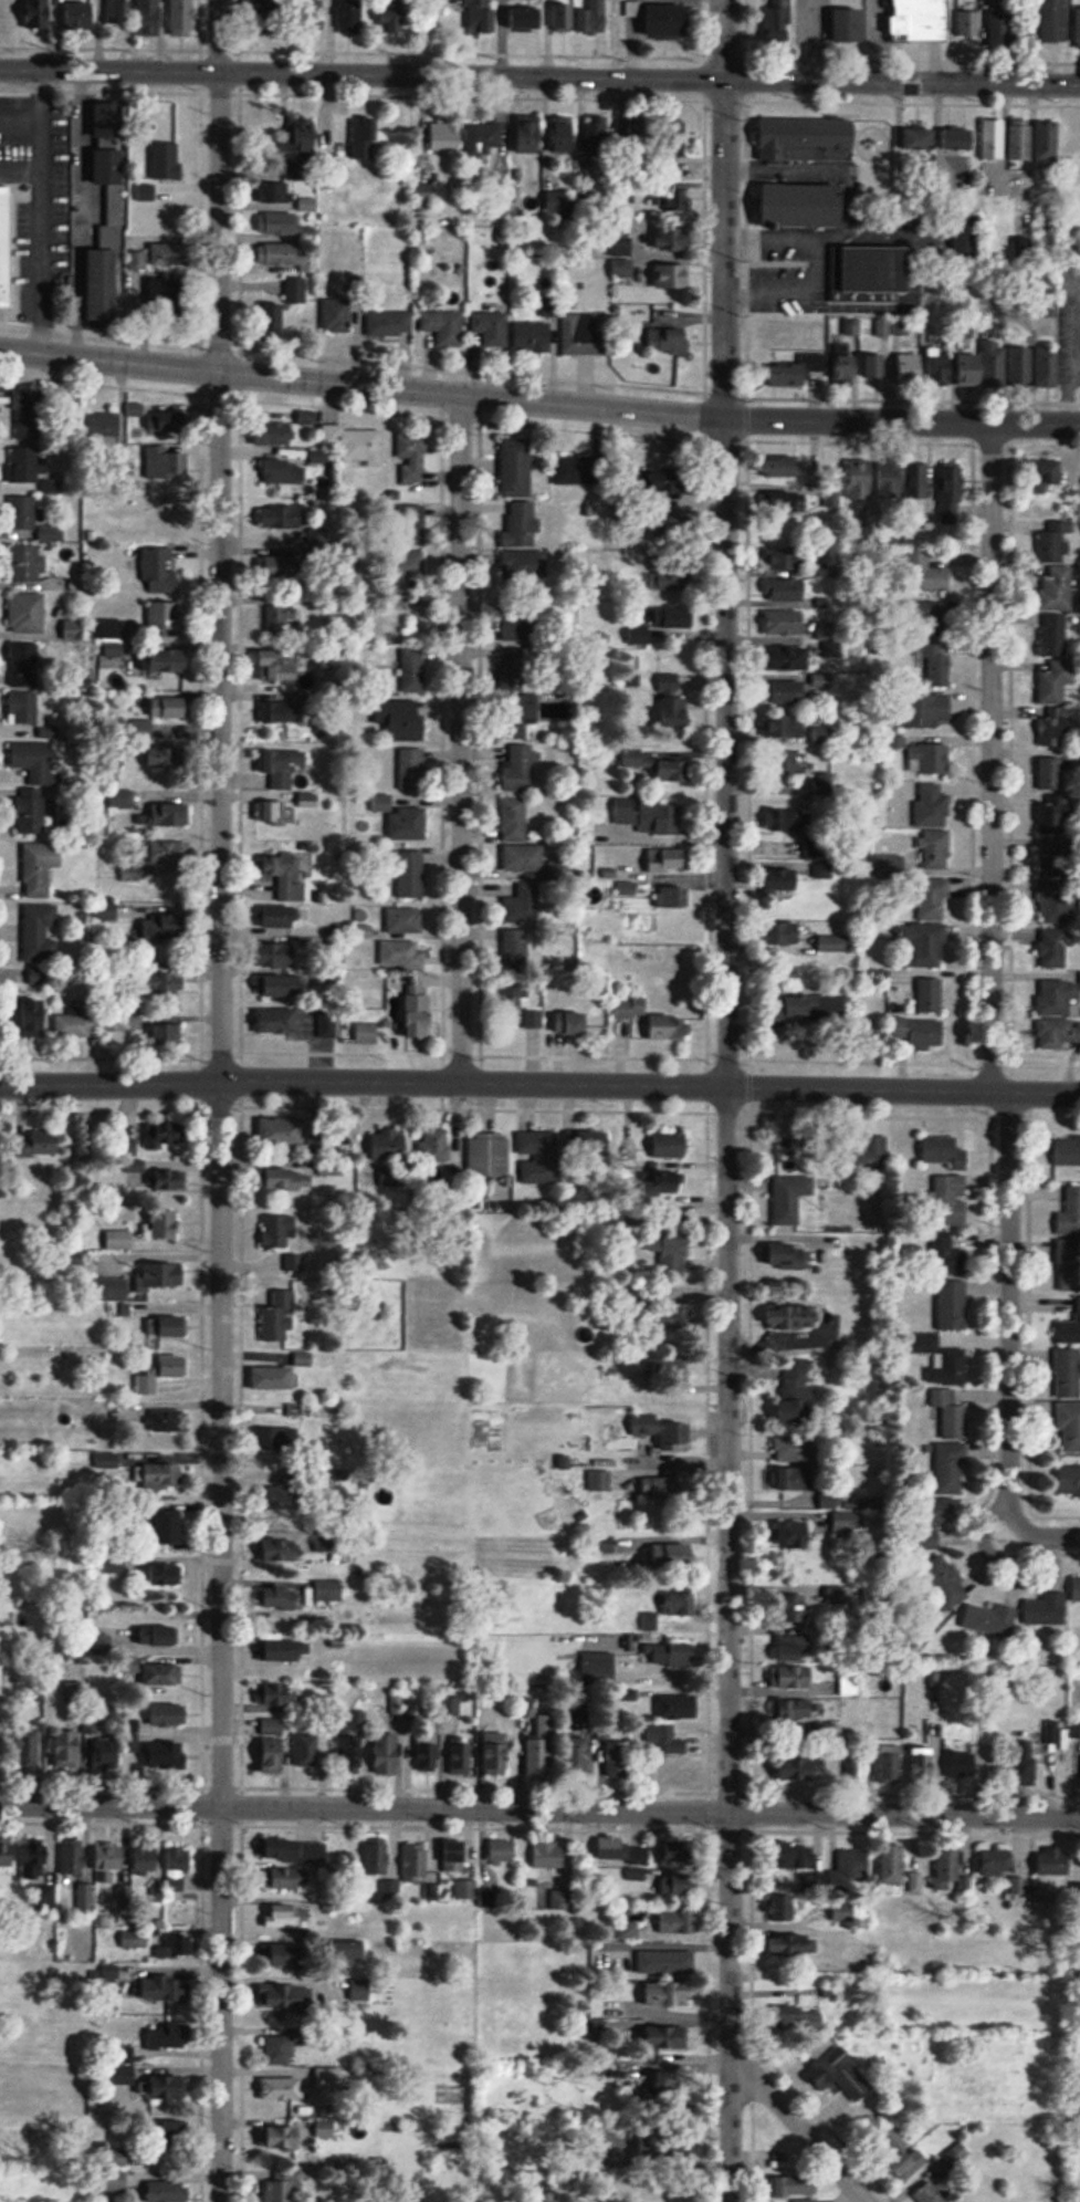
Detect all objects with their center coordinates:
building: (411, 7)
building: (633, 9)
building: (117, 12)
building: (34, 13)
building: (8, 14)
building: (353, 15)
building: (479, 15)
building: (597, 15)
building: (81, 17)
building: (184, 18)
building: (568, 18)
building: (914, 18)
building: (151, 19)
building: (527, 19)
building: (671, 20)
building: (391, 21)
building: (1057, 21)
building: (968, 24)
building: (838, 25)
building: (1078, 28)
road: (539, 76)
building: (678, 131)
building: (646, 134)
building: (531, 135)
building: (564, 135)
building: (598, 135)
building: (447, 136)
building: (365, 138)
building: (483, 138)
building: (920, 138)
building: (301, 139)
building: (960, 139)
building: (1008, 139)
building: (1046, 142)
building: (805, 143)
building: (168, 161)
road: (817, 168)
building: (275, 192)
building: (113, 196)
building: (555, 201)
building: (679, 202)
building: (807, 206)
road: (726, 209)
building: (277, 225)
road: (770, 234)
building: (966, 237)
building: (7, 249)
building: (169, 251)
road: (909, 251)
building: (283, 257)
building: (622, 258)
building: (135, 261)
building: (870, 273)
building: (673, 278)
building: (105, 286)
road: (769, 290)
building: (175, 301)
building: (337, 315)
building: (279, 323)
building: (390, 324)
building: (445, 327)
building: (492, 328)
building: (882, 330)
building: (586, 335)
building: (534, 337)
building: (780, 340)
building: (670, 342)
building: (847, 365)
building: (941, 367)
building: (1036, 368)
building: (798, 372)
road: (363, 385)
building: (135, 409)
building: (25, 411)
building: (109, 421)
road: (902, 421)
building: (165, 422)
building: (277, 435)
building: (356, 445)
building: (413, 459)
building: (166, 463)
building: (27, 467)
building: (780, 467)
building: (516, 470)
building: (579, 470)
building: (283, 473)
building: (1039, 474)
building: (890, 480)
building: (861, 481)
building: (919, 481)
building: (950, 491)
building: (787, 503)
building: (24, 513)
building: (415, 513)
building: (282, 518)
building: (169, 521)
building: (517, 524)
building: (679, 526)
building: (1053, 542)
building: (788, 559)
building: (28, 563)
building: (523, 563)
building: (281, 566)
building: (409, 566)
building: (159, 571)
building: (932, 578)
building: (785, 589)
building: (1056, 589)
building: (415, 607)
building: (28, 613)
building: (165, 617)
building: (675, 619)
building: (282, 622)
building: (784, 623)
building: (74, 628)
building: (1053, 635)
building: (831, 650)
building: (786, 658)
building: (167, 660)
building: (24, 661)
building: (279, 666)
building: (413, 670)
building: (513, 670)
building: (940, 671)
building: (1053, 686)
building: (788, 692)
building: (671, 700)
building: (24, 708)
building: (934, 710)
building: (161, 714)
building: (516, 718)
building: (407, 721)
building: (799, 729)
building: (1052, 730)
road: (460, 738)
building: (30, 754)
building: (159, 758)
building: (930, 760)
building: (796, 764)
building: (518, 768)
building: (286, 769)
building: (412, 770)
building: (1051, 773)
building: (825, 783)
building: (120, 799)
building: (31, 811)
building: (271, 813)
building: (168, 815)
building: (649, 817)
building: (514, 818)
building: (1050, 818)
building: (785, 822)
building: (409, 824)
building: (934, 828)
building: (162, 856)
building: (523, 857)
building: (1055, 859)
building: (668, 860)
building: (41, 867)
building: (410, 872)
building: (287, 876)
building: (784, 881)
building: (671, 897)
building: (934, 899)
building: (522, 904)
building: (1055, 905)
building: (106, 910)
building: (274, 917)
building: (403, 920)
building: (671, 923)
building: (165, 928)
building: (40, 932)
building: (785, 935)
building: (833, 943)
building: (924, 945)
building: (515, 949)
building: (1053, 949)
building: (402, 954)
building: (285, 971)
road: (989, 979)
building: (151, 983)
building: (178, 984)
building: (930, 995)
building: (520, 1008)
building: (815, 1008)
building: (1059, 1014)
building: (34, 1017)
building: (416, 1019)
building: (653, 1019)
building: (279, 1021)
building: (116, 1022)
building: (76, 1024)
building: (368, 1033)
building: (920, 1033)
building: (168, 1034)
road: (539, 1083)
road: (220, 1100)
building: (283, 1131)
building: (161, 1135)
building: (594, 1139)
building: (48, 1140)
building: (390, 1140)
building: (671, 1144)
building: (434, 1145)
building: (872, 1151)
building: (944, 1152)
building: (489, 1154)
building: (538, 1156)
building: (332, 1168)
building: (155, 1177)
building: (289, 1178)
building: (667, 1181)
building: (791, 1198)
building: (951, 1200)
building: (1070, 1212)
building: (167, 1222)
building: (280, 1231)
building: (119, 1239)
building: (1070, 1251)
building: (672, 1252)
building: (946, 1254)
building: (795, 1256)
building: (176, 1274)
building: (281, 1304)
building: (953, 1305)
road: (727, 1311)
building: (795, 1315)
building: (674, 1317)
building: (166, 1327)
building: (1069, 1328)
building: (304, 1358)
building: (667, 1365)
building: (947, 1366)
building: (1067, 1371)
building: (162, 1373)
building: (273, 1377)
building: (797, 1400)
building: (951, 1413)
building: (169, 1420)
building: (660, 1426)
building: (1069, 1426)
building: (286, 1439)
building: (793, 1449)
building: (951, 1467)
building: (164, 1474)
building: (783, 1479)
building: (1069, 1479)
building: (665, 1486)
building: (941, 1523)
building: (171, 1526)
building: (796, 1534)
road: (1049, 1537)
building: (280, 1543)
building: (675, 1555)
building: (114, 1564)
building: (166, 1574)
building: (946, 1579)
building: (1076, 1587)
building: (328, 1589)
building: (281, 1594)
building: (836, 1595)
building: (680, 1603)
building: (794, 1604)
building: (1045, 1608)
building: (992, 1618)
building: (158, 1634)
building: (281, 1650)
building: (795, 1650)
building: (675, 1652)
building: (132, 1667)
building: (599, 1670)
building: (162, 1673)
building: (793, 1676)
building: (849, 1680)
building: (279, 1693)
building: (679, 1704)
building: (795, 1708)
building: (168, 1713)
building: (273, 1725)
building: (1074, 1726)
building: (826, 1729)
building: (665, 1739)
building: (353, 1741)
building: (1, 1744)
building: (134, 1744)
building: (67, 1746)
building: (541, 1747)
building: (29, 1749)
building: (107, 1750)
building: (311, 1751)
building: (387, 1753)
building: (426, 1753)
building: (495, 1753)
building: (274, 1754)
building: (580, 1755)
building: (170, 1756)
building: (617, 1757)
building: (461, 1759)
building: (966, 1762)
building: (924, 1763)
building: (892, 1764)
building: (803, 1768)
building: (849, 1770)
building: (1023, 1771)
building: (691, 1778)
road: (539, 1809)
building: (611, 1848)
building: (296, 1850)
building: (503, 1850)
building: (8, 1854)
building: (454, 1854)
building: (377, 1855)
building: (549, 1855)
building: (801, 1856)
building: (73, 1857)
building: (111, 1858)
building: (34, 1859)
building: (147, 1860)
building: (418, 1861)
building: (996, 1861)
building: (180, 1862)
building: (1055, 1862)
building: (948, 1864)
building: (893, 1865)
building: (852, 1866)
building: (291, 1878)
building: (915, 1882)
building: (684, 1885)
building: (387, 1888)
building: (466, 1889)
building: (44, 1897)
building: (562, 1900)
building: (782, 1907)
building: (843, 1911)
building: (283, 1916)
building: (678, 1921)
building: (794, 1944)
building: (174, 1948)
building: (289, 1954)
building: (665, 1961)
building: (167, 1990)
building: (670, 1993)
building: (289, 1996)
building: (803, 2017)
building: (596, 2028)
building: (671, 2035)
building: (840, 2075)
building: (324, 2079)
building: (668, 2084)
building: (170, 2088)
building: (282, 2089)
road: (798, 2123)
building: (178, 2129)
building: (286, 2137)
building: (658, 2141)
building: (903, 2154)
building: (954, 2156)
building: (114, 2180)
building: (801, 2184)
building: (283, 2187)
building: (936, 2192)
building: (806, 2201)

